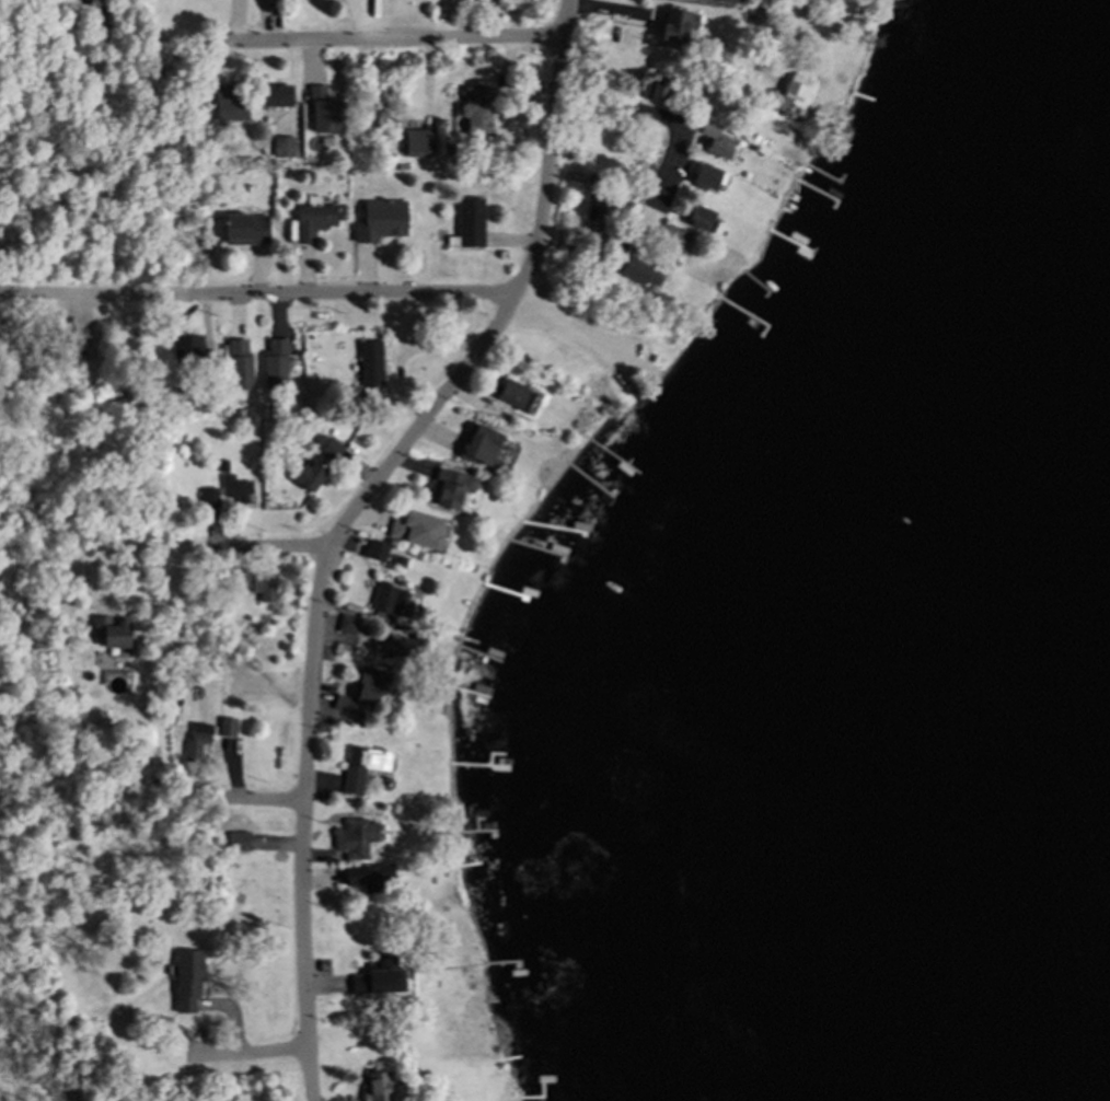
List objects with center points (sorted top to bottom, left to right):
building: (732, 1)
building: (753, 14)
building: (678, 24)
road: (396, 43)
building: (655, 88)
building: (276, 95)
building: (788, 96)
building: (228, 104)
building: (475, 106)
building: (322, 109)
road: (650, 119)
building: (837, 131)
building: (713, 139)
building: (415, 142)
building: (281, 146)
building: (566, 153)
building: (286, 173)
building: (705, 175)
building: (592, 179)
building: (591, 211)
building: (699, 218)
building: (312, 220)
building: (378, 221)
building: (466, 223)
building: (244, 228)
building: (671, 237)
building: (615, 243)
building: (638, 271)
road: (339, 295)
building: (183, 347)
building: (236, 362)
building: (273, 363)
building: (368, 364)
building: (512, 394)
building: (196, 402)
building: (240, 412)
building: (576, 421)
building: (299, 425)
building: (327, 445)
building: (478, 445)
building: (219, 463)
building: (304, 473)
building: (234, 487)
building: (449, 487)
building: (207, 497)
road: (345, 522)
building: (419, 531)
building: (373, 548)
road: (240, 549)
building: (236, 576)
building: (262, 584)
building: (385, 599)
building: (349, 625)
building: (112, 633)
building: (401, 647)
building: (377, 685)
building: (357, 688)
building: (226, 727)
building: (193, 740)
building: (361, 765)
road: (250, 798)
building: (235, 838)
building: (359, 838)
building: (374, 876)
building: (186, 976)
building: (378, 976)
building: (141, 1017)
road: (259, 1054)
building: (375, 1086)

